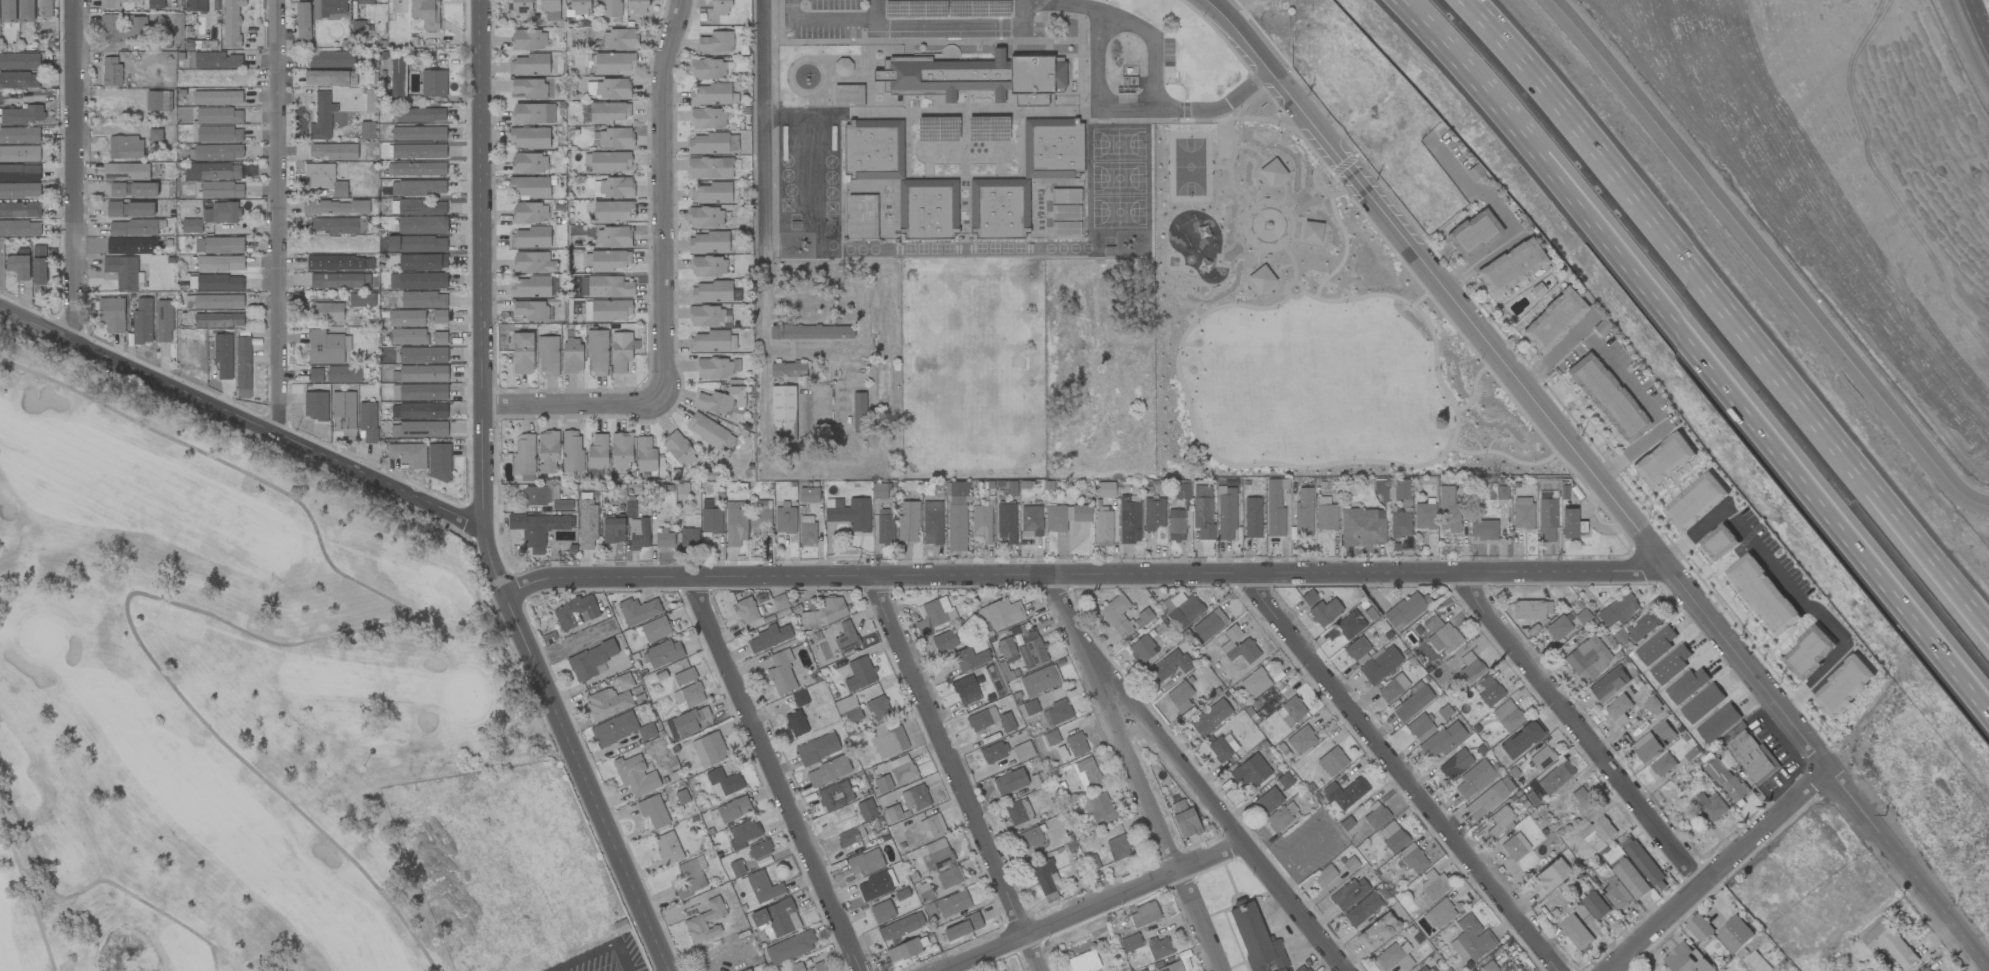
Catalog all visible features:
road: (1959, 0)
building: (364, 2)
building: (114, 4)
building: (548, 5)
building: (195, 6)
building: (579, 7)
building: (637, 7)
building: (720, 7)
building: (44, 8)
building: (521, 8)
building: (610, 8)
building: (329, 9)
building: (7, 11)
building: (26, 11)
road: (874, 12)
building: (425, 13)
building: (303, 21)
building: (231, 22)
building: (121, 27)
road: (913, 27)
road: (1973, 34)
road: (1236, 35)
building: (619, 39)
building: (528, 40)
building: (715, 42)
road: (1157, 42)
building: (213, 60)
building: (331, 60)
building: (19, 61)
building: (614, 63)
building: (529, 65)
building: (842, 67)
building: (707, 69)
building: (111, 71)
building: (977, 76)
building: (330, 78)
building: (19, 80)
building: (433, 83)
building: (529, 88)
building: (397, 89)
building: (608, 89)
building: (710, 95)
building: (217, 98)
building: (156, 101)
road: (1101, 109)
building: (609, 112)
building: (532, 114)
building: (420, 115)
building: (21, 116)
building: (218, 116)
building: (321, 117)
building: (707, 118)
road: (759, 128)
building: (937, 129)
building: (366, 130)
building: (219, 134)
building: (418, 134)
building: (19, 135)
building: (154, 135)
building: (528, 138)
building: (612, 138)
building: (707, 144)
building: (732, 144)
building: (125, 147)
building: (1052, 147)
building: (873, 149)
building: (334, 151)
building: (418, 151)
building: (215, 152)
building: (19, 154)
building: (610, 162)
building: (529, 163)
building: (709, 168)
road: (71, 169)
building: (416, 169)
building: (126, 171)
building: (212, 171)
building: (19, 172)
building: (324, 179)
building: (528, 187)
building: (418, 188)
building: (613, 188)
building: (133, 189)
building: (221, 190)
building: (19, 191)
building: (711, 194)
building: (1065, 196)
road: (660, 201)
building: (335, 207)
building: (421, 207)
building: (999, 208)
building: (129, 209)
building: (927, 209)
building: (20, 210)
building: (613, 211)
building: (221, 213)
building: (529, 213)
building: (1065, 213)
road: (275, 215)
building: (705, 217)
building: (861, 217)
road: (1503, 221)
building: (422, 225)
building: (191, 226)
building: (338, 226)
building: (19, 228)
building: (132, 228)
building: (1065, 230)
building: (1473, 233)
building: (612, 237)
building: (529, 238)
building: (707, 243)
building: (416, 244)
building: (218, 245)
building: (131, 246)
road: (1762, 258)
building: (609, 261)
building: (422, 262)
building: (533, 262)
building: (219, 263)
building: (339, 263)
building: (38, 265)
building: (18, 266)
building: (708, 266)
building: (1510, 267)
building: (124, 272)
building: (339, 281)
building: (417, 281)
building: (216, 283)
building: (529, 287)
building: (609, 287)
building: (711, 292)
building: (423, 299)
building: (361, 300)
building: (218, 302)
building: (530, 310)
building: (607, 310)
building: (325, 311)
road: (1728, 312)
building: (111, 314)
building: (439, 316)
building: (709, 316)
building: (406, 318)
building: (218, 320)
building: (1554, 320)
building: (141, 321)
building: (163, 321)
park: (1304, 329)
building: (811, 332)
building: (408, 337)
building: (439, 338)
building: (709, 342)
building: (324, 347)
road: (1696, 349)
building: (522, 353)
building: (597, 353)
building: (422, 355)
building: (620, 355)
building: (223, 356)
building: (548, 356)
building: (571, 356)
building: (242, 367)
building: (714, 368)
building: (787, 370)
building: (423, 373)
building: (335, 374)
road: (1623, 380)
building: (419, 392)
building: (1605, 397)
building: (721, 400)
road: (569, 402)
building: (315, 406)
building: (344, 409)
building: (418, 411)
building: (858, 411)
building: (782, 413)
road: (242, 416)
building: (368, 423)
building: (418, 430)
building: (706, 430)
building: (679, 449)
building: (571, 451)
building: (621, 451)
building: (547, 452)
building: (597, 453)
building: (407, 454)
building: (645, 455)
building: (524, 456)
building: (1663, 460)
building: (438, 462)
building: (1105, 489)
building: (1402, 489)
building: (1181, 491)
building: (540, 495)
building: (809, 495)
building: (1696, 501)
road: (483, 504)
building: (562, 505)
building: (1275, 507)
building: (1448, 508)
building: (1202, 511)
building: (849, 513)
building: (1303, 513)
building: (1522, 513)
building: (760, 514)
building: (1153, 514)
building: (1226, 514)
building: (1325, 514)
building: (956, 516)
building: (1064, 516)
building: (1423, 516)
building: (710, 518)
building: (1252, 518)
building: (785, 519)
building: (1129, 519)
building: (1546, 520)
building: (908, 521)
building: (1031, 521)
building: (1006, 522)
road: (1626, 522)
building: (735, 523)
building: (932, 523)
building: (981, 523)
building: (1568, 523)
building: (587, 524)
building: (1400, 524)
building: (1176, 525)
building: (884, 527)
building: (1103, 527)
building: (1362, 527)
building: (613, 530)
building: (807, 530)
building: (1482, 530)
building: (638, 534)
building: (688, 538)
building: (664, 541)
building: (1719, 542)
road: (1358, 574)
road: (776, 580)
road: (1784, 583)
building: (1764, 594)
building: (1309, 598)
building: (780, 605)
building: (1181, 609)
building: (1405, 610)
building: (1531, 610)
building: (638, 611)
building: (746, 611)
building: (1617, 611)
building: (575, 612)
building: (1324, 612)
building: (824, 613)
building: (1000, 614)
building: (933, 615)
building: (1116, 615)
building: (1142, 618)
building: (1578, 618)
building: (1209, 625)
building: (1350, 625)
building: (1640, 627)
building: (1557, 628)
building: (655, 629)
building: (1440, 635)
building: (768, 638)
building: (846, 638)
building: (944, 641)
building: (1656, 645)
building: (1238, 646)
building: (1006, 648)
building: (1032, 649)
building: (1142, 649)
building: (1358, 651)
building: (1809, 652)
building: (663, 653)
building: (1588, 658)
building: (969, 659)
building: (590, 660)
building: (1380, 664)
building: (1170, 665)
building: (1670, 665)
building: (1469, 667)
building: (781, 674)
building: (859, 674)
building: (684, 677)
building: (1039, 680)
building: (623, 682)
building: (1255, 682)
building: (1608, 684)
building: (1687, 685)
building: (1844, 686)
building: (1392, 688)
building: (966, 690)
building: (1489, 692)
building: (687, 697)
building: (800, 698)
building: (608, 703)
building: (1702, 703)
building: (1412, 704)
building: (878, 708)
building: (1027, 708)
building: (848, 709)
building: (1617, 709)
building: (1290, 711)
building: (1057, 713)
building: (1507, 715)
park: (259, 717)
building: (1210, 717)
building: (981, 718)
building: (686, 723)
building: (796, 723)
building: (1718, 723)
building: (1420, 728)
road: (1575, 728)
building: (619, 729)
building: (1051, 738)
building: (888, 740)
building: (1301, 740)
building: (1521, 740)
building: (1442, 741)
building: (1076, 744)
building: (1648, 747)
building: (709, 749)
building: (817, 749)
building: (1022, 751)
building: (993, 752)
building: (1752, 756)
building: (1542, 758)
building: (1332, 761)
building: (1455, 764)
building: (1663, 765)
building: (901, 769)
building: (828, 771)
building: (1250, 771)
road: (1399, 773)
road: (954, 774)
building: (1087, 774)
road: (1137, 774)
building: (635, 776)
road: (776, 777)
building: (1555, 777)
building: (1727, 778)
building: (1474, 779)
building: (1010, 782)
building: (723, 783)
building: (882, 784)
building: (1345, 793)
building: (834, 796)
building: (915, 798)
building: (1583, 800)
building: (1268, 801)
building: (1486, 801)
building: (1711, 806)
building: (1098, 808)
building: (733, 809)
building: (866, 810)
building: (653, 811)
building: (1018, 812)
building: (895, 814)
building: (1375, 817)
building: (1279, 818)
building: (1184, 819)
road: (1227, 819)
building: (933, 825)
road: (1314, 825)
building: (1598, 831)
building: (743, 834)
building: (851, 836)
building: (1392, 837)
building: (1030, 839)
building: (1515, 847)
building: (1118, 848)
building: (668, 849)
building: (759, 850)
building: (938, 853)
building: (1412, 859)
building: (1643, 861)
building: (864, 863)
building: (1092, 863)
road: (1717, 870)
building: (1324, 875)
building: (690, 877)
building: (949, 877)
building: (1045, 877)
building: (1549, 877)
building: (1630, 877)
road: (1287, 881)
building: (760, 887)
building: (874, 887)
building: (1431, 887)
building: (1349, 893)
building: (1619, 897)
building: (952, 904)
road: (1092, 905)
building: (1595, 905)
building: (1362, 909)
building: (882, 912)
building: (1439, 914)
building: (1144, 915)
building: (775, 917)
building: (705, 922)
building: (900, 927)
building: (962, 927)
building: (1699, 928)
building: (1377, 932)
building: (1576, 932)
building: (1735, 934)
building: (1256, 939)
building: (1470, 939)
road: (1294, 940)
building: (1130, 943)
building: (1889, 944)
building: (1160, 947)
building: (790, 948)
building: (904, 950)
road: (598, 952)
building: (1394, 957)
parking lot: (607, 958)
building: (1686, 960)
building: (1084, 962)
building: (816, 967)
building: (1171, 967)
building: (1301, 968)
building: (1424, 968)
building: (747, 970)
building: (1001, 970)
building: (1144, 970)

